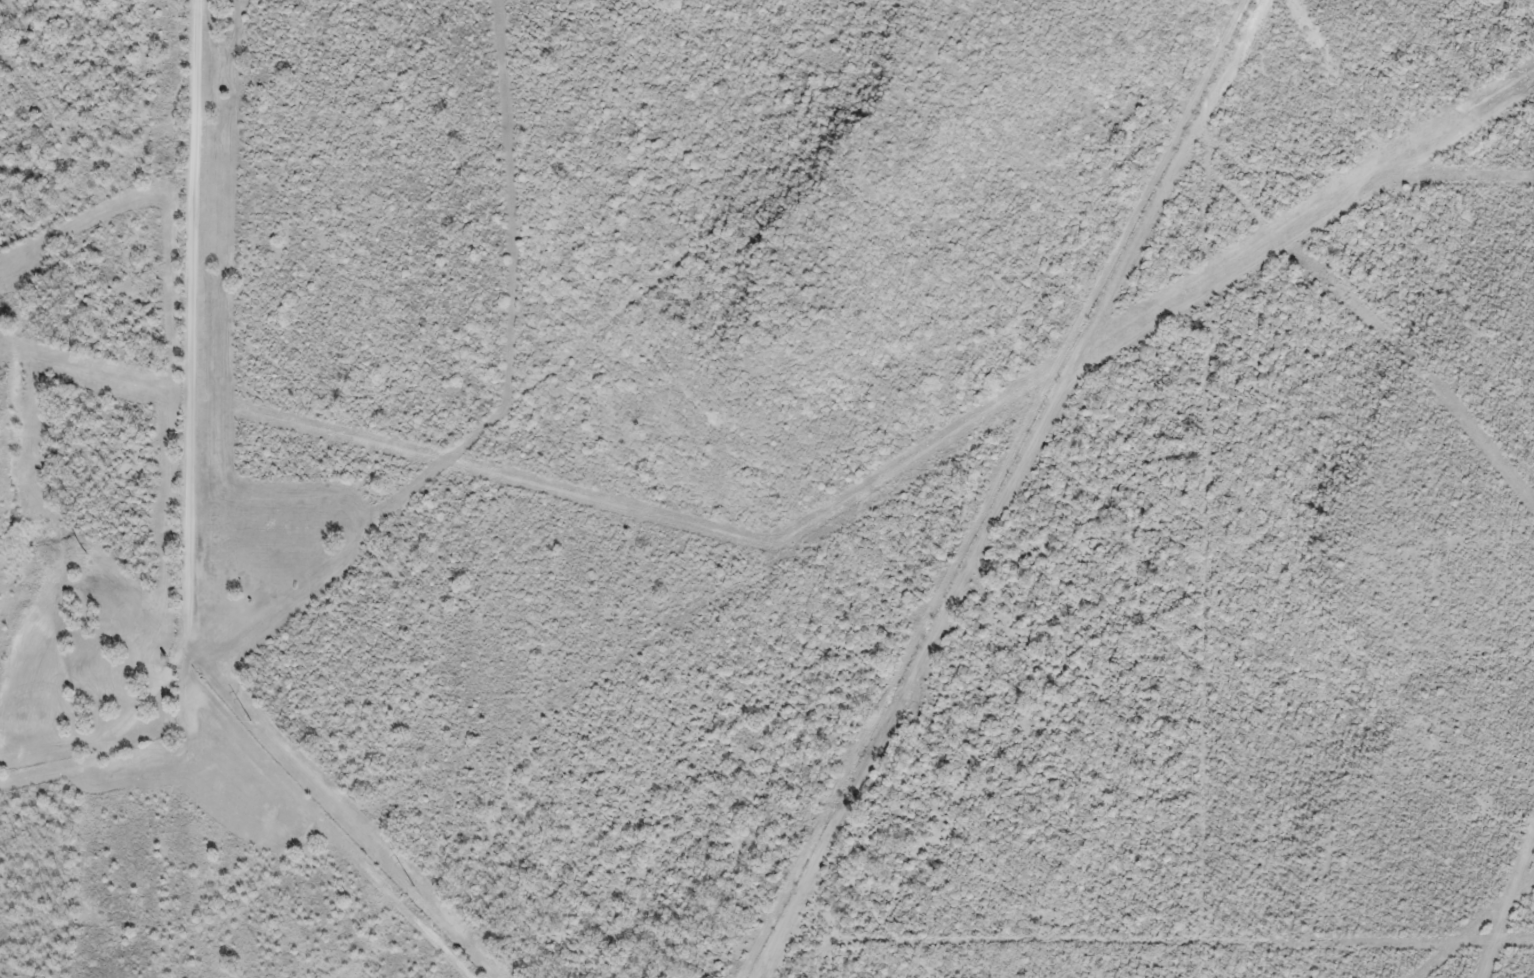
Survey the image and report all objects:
road: (190, 332)
power tower: (87, 555)
power tower: (251, 722)
power tower: (413, 887)

